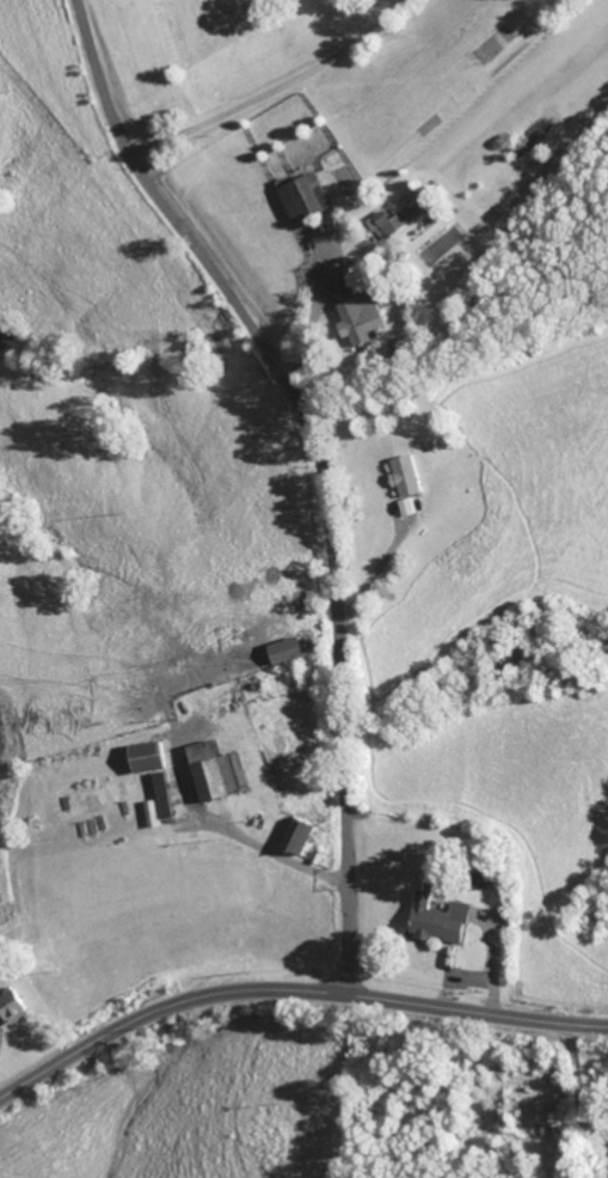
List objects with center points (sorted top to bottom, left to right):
road: (271, 88)
building: (305, 197)
building: (361, 319)
road: (319, 468)
building: (409, 475)
building: (410, 506)
building: (290, 649)
building: (153, 756)
building: (221, 771)
building: (168, 795)
building: (300, 835)
road: (240, 836)
building: (443, 920)
road: (291, 993)
building: (14, 1007)

